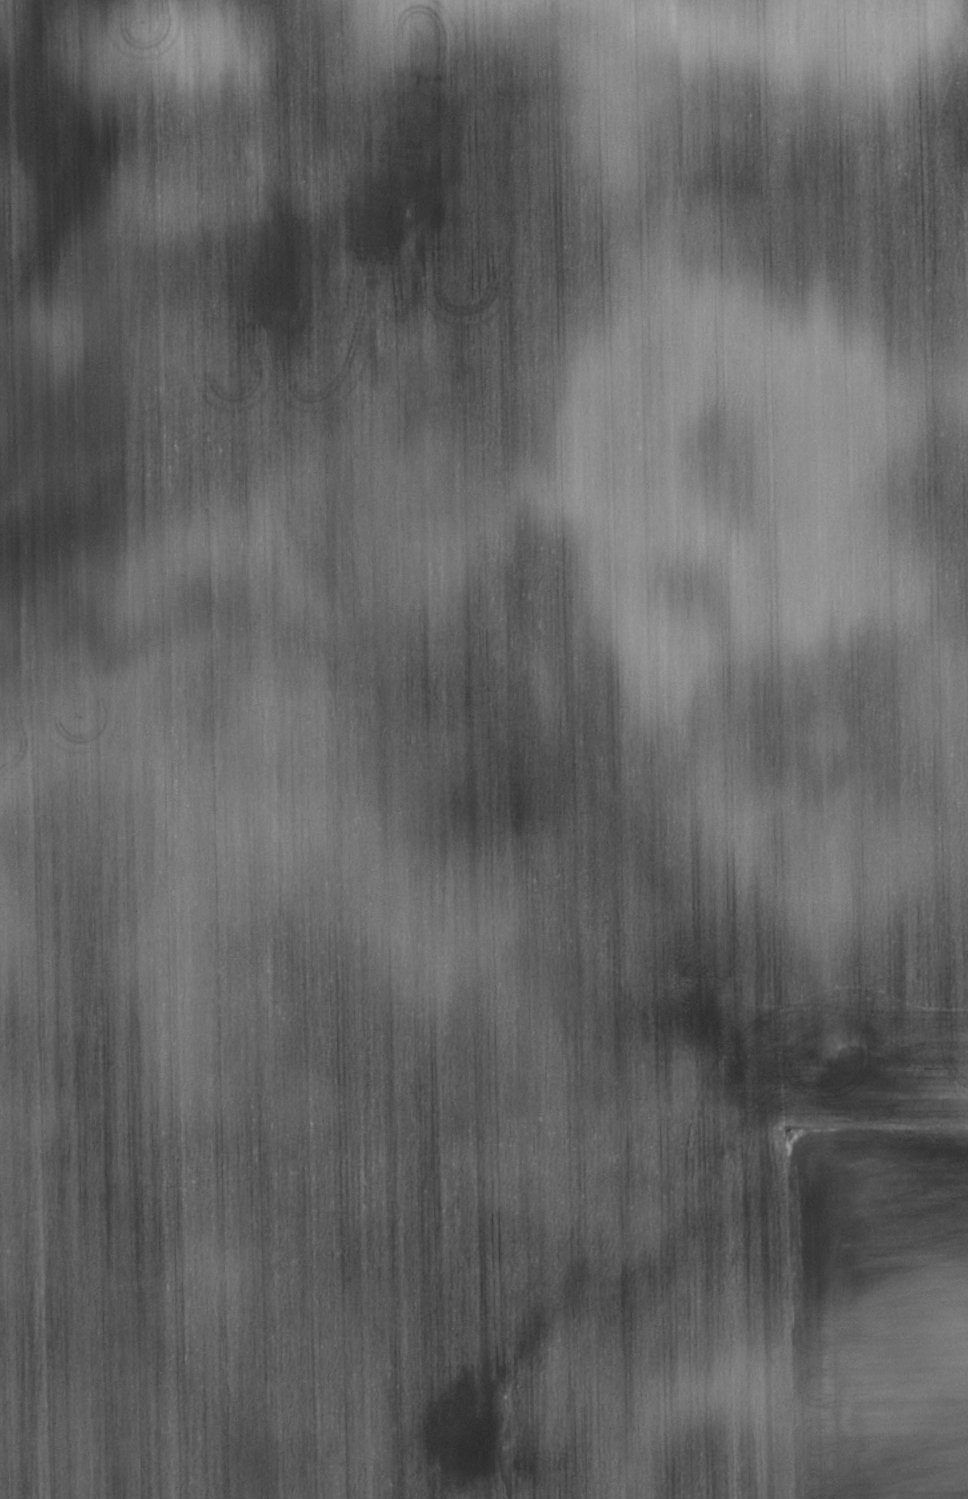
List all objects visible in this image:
crop: (484, 749)

